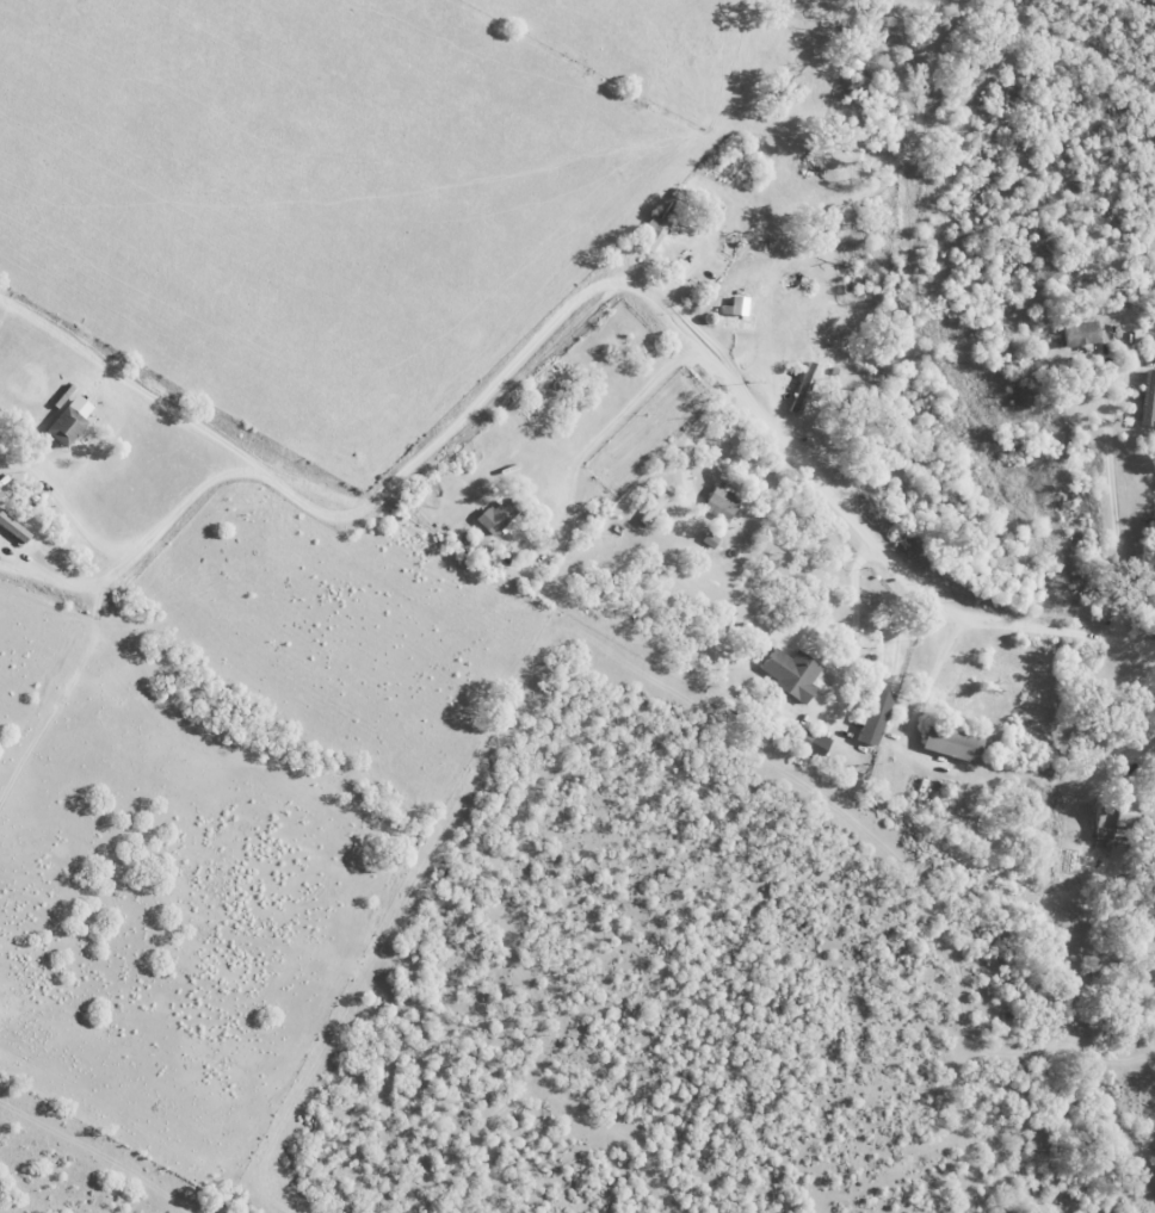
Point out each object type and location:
building: (657, 228)
building: (736, 305)
building: (1080, 333)
building: (803, 388)
building: (1147, 398)
road: (747, 403)
building: (67, 421)
road: (192, 427)
road: (693, 437)
road: (588, 452)
road: (1116, 490)
building: (722, 499)
road: (68, 508)
building: (493, 516)
building: (13, 528)
building: (472, 545)
road: (136, 549)
road: (858, 614)
building: (789, 672)
road: (934, 673)
building: (873, 717)
building: (808, 739)
building: (949, 743)
building: (1108, 821)

